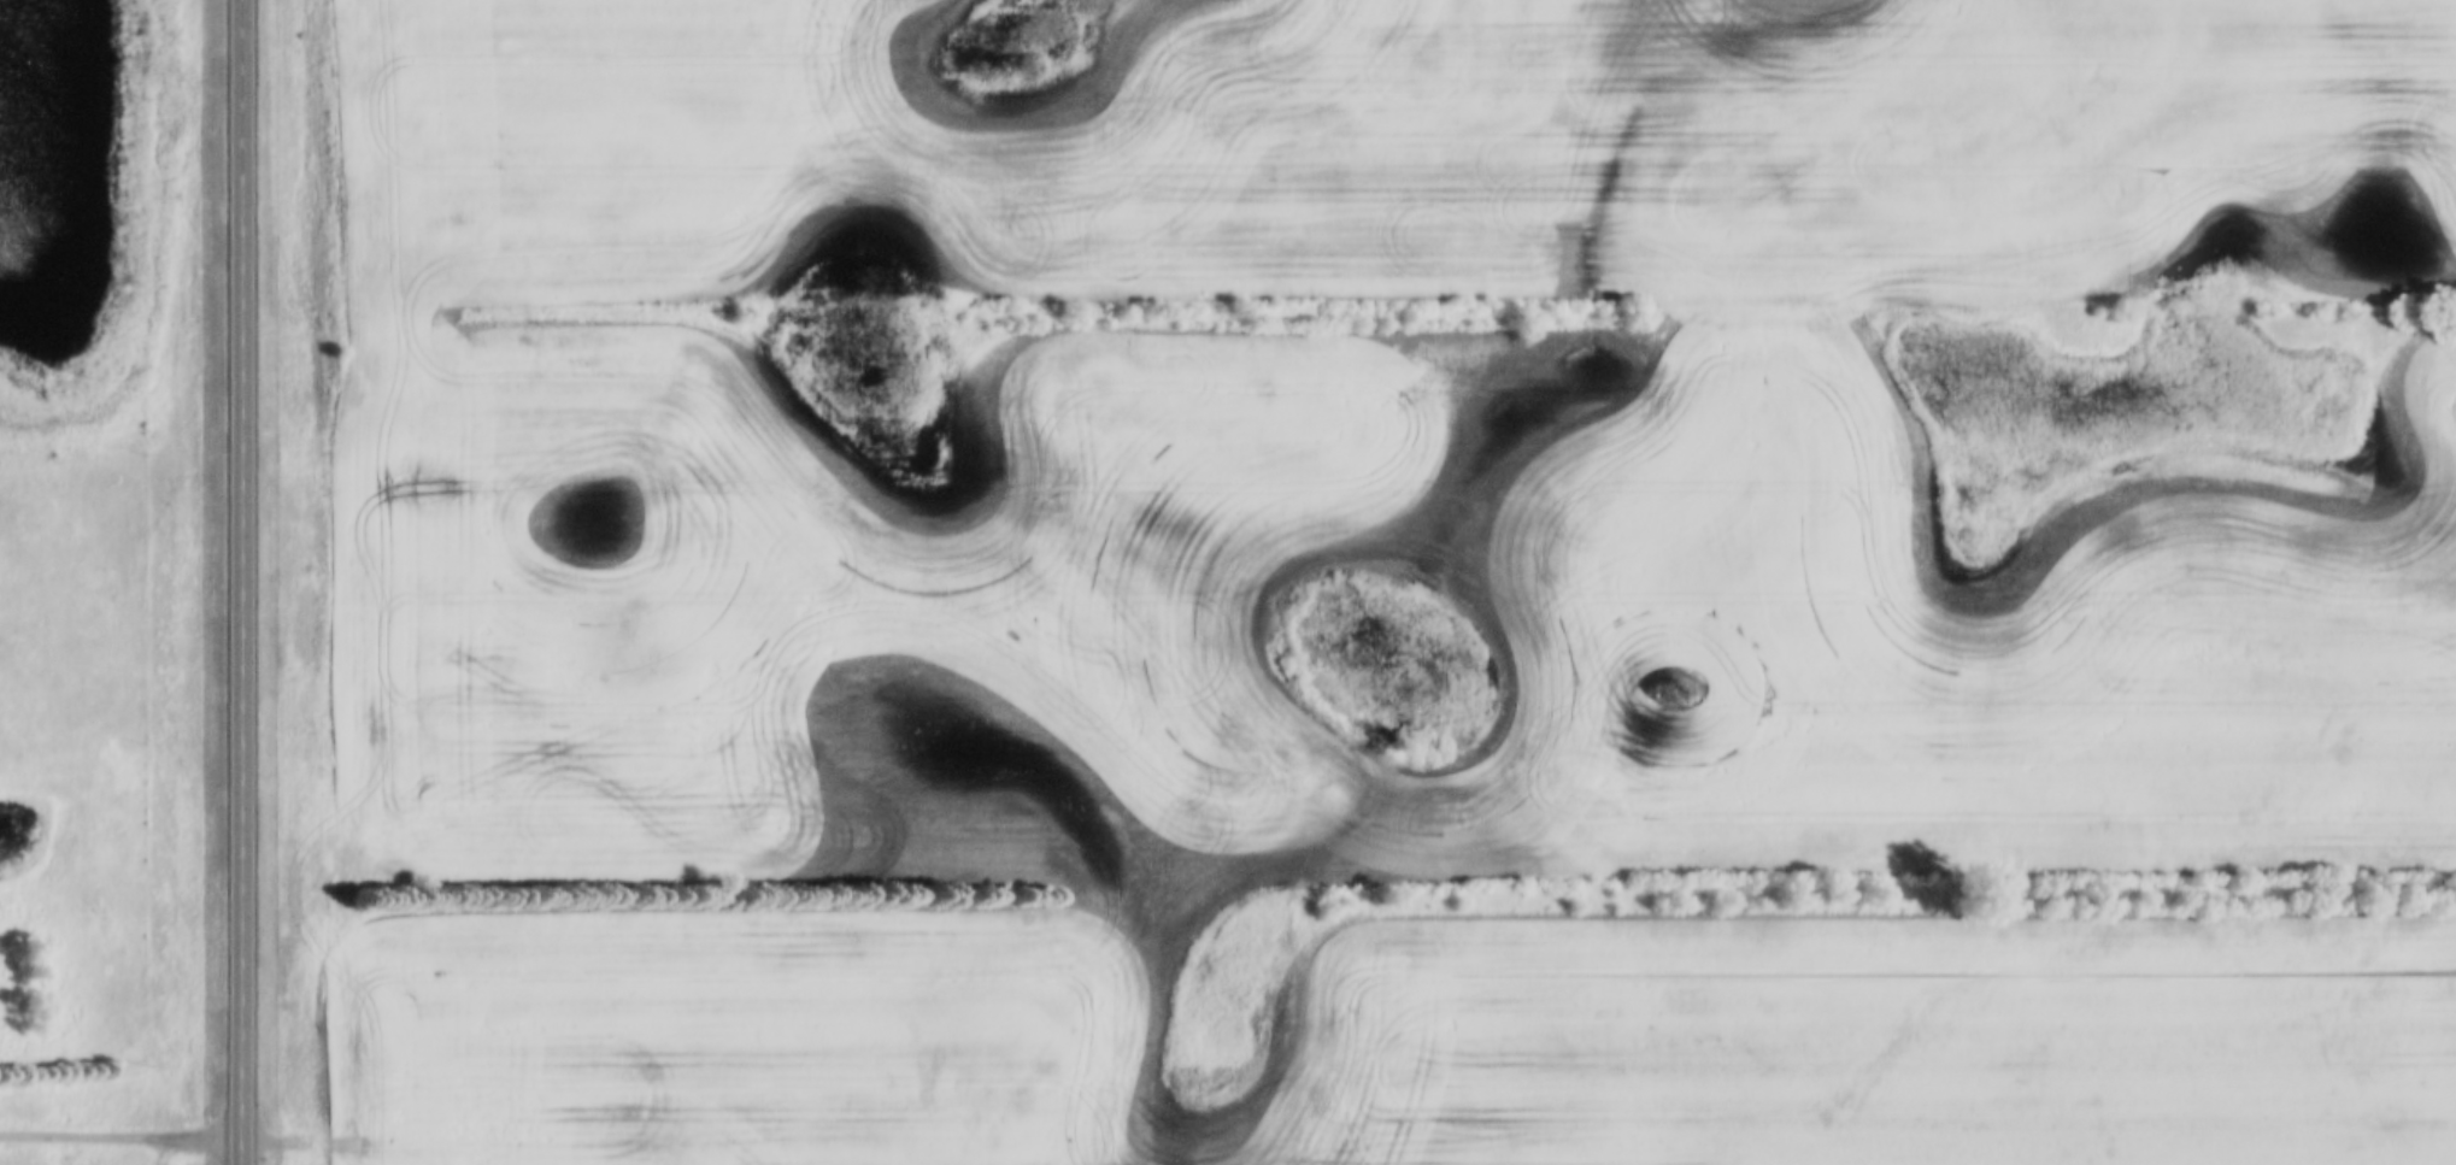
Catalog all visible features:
road: (240, 582)
road: (119, 1142)
road: (160, 1154)

